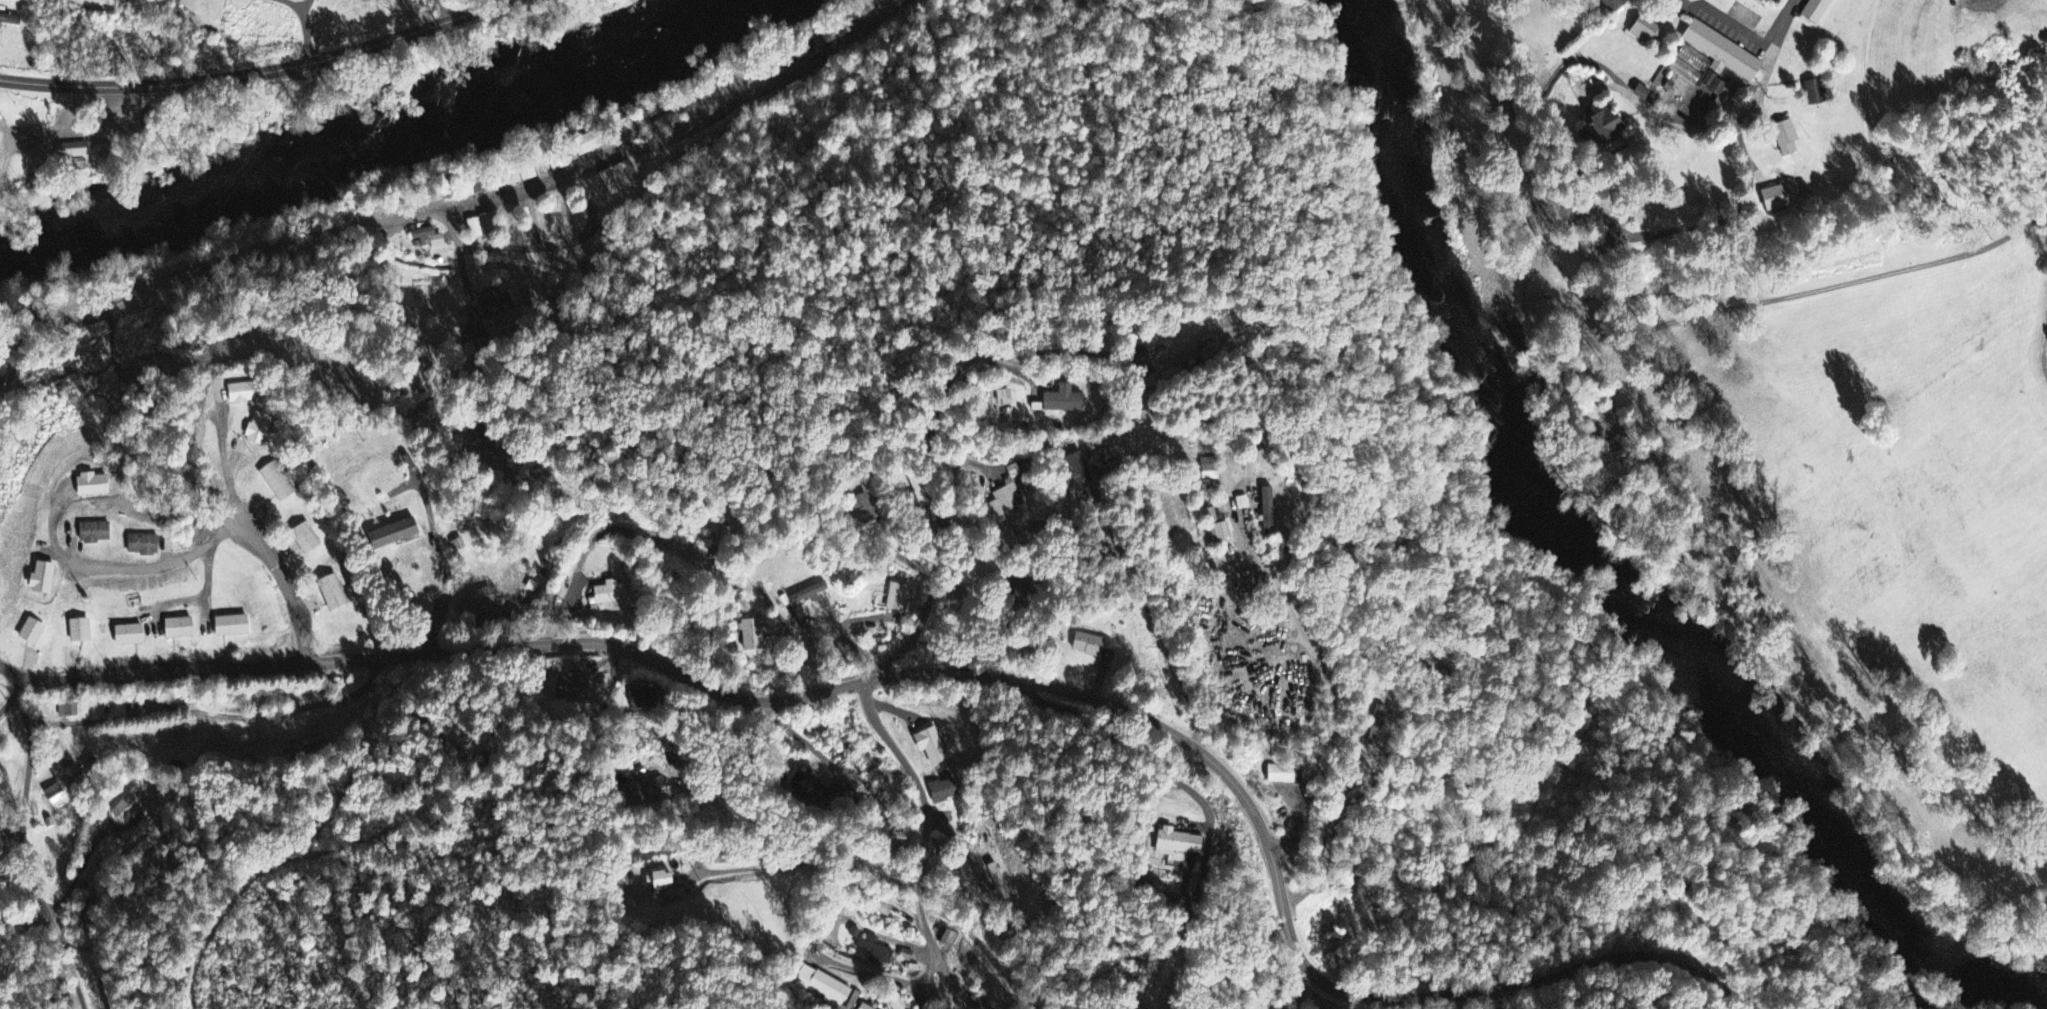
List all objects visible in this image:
building: (874, 1)
building: (1605, 5)
building: (864, 7)
building: (1816, 11)
building: (11, 21)
building: (1643, 32)
building: (1710, 64)
road: (254, 74)
river: (494, 78)
building: (1638, 93)
building: (1813, 94)
building: (668, 127)
building: (1597, 128)
building: (1782, 139)
building: (80, 151)
building: (611, 183)
river: (162, 185)
building: (1775, 198)
river: (15, 223)
building: (484, 228)
building: (430, 239)
building: (1612, 244)
road: (1840, 282)
building: (495, 304)
building: (1176, 355)
building: (246, 394)
building: (1000, 399)
building: (1059, 402)
building: (261, 430)
building: (1600, 458)
building: (1072, 470)
building: (274, 480)
building: (95, 486)
building: (1006, 501)
building: (1239, 505)
river: (1583, 506)
building: (1264, 513)
building: (1214, 527)
building: (90, 529)
building: (389, 530)
building: (302, 534)
building: (139, 541)
building: (722, 544)
road: (264, 558)
road: (161, 561)
road: (442, 563)
building: (45, 579)
building: (329, 589)
building: (607, 594)
building: (806, 595)
building: (896, 599)
building: (479, 603)
building: (174, 623)
building: (229, 623)
building: (76, 628)
building: (28, 629)
building: (125, 633)
building: (751, 636)
building: (1086, 646)
road: (958, 673)
building: (572, 688)
building: (640, 699)
building: (69, 711)
road: (216, 714)
building: (927, 747)
building: (1279, 776)
building: (809, 788)
road: (920, 788)
building: (944, 792)
building: (644, 793)
building: (56, 795)
building: (129, 807)
building: (1175, 844)
road: (37, 845)
building: (654, 883)
building: (998, 883)
building: (880, 910)
road: (984, 947)
building: (874, 952)
road: (940, 966)
river: (1990, 976)
building: (823, 986)
building: (862, 1007)

